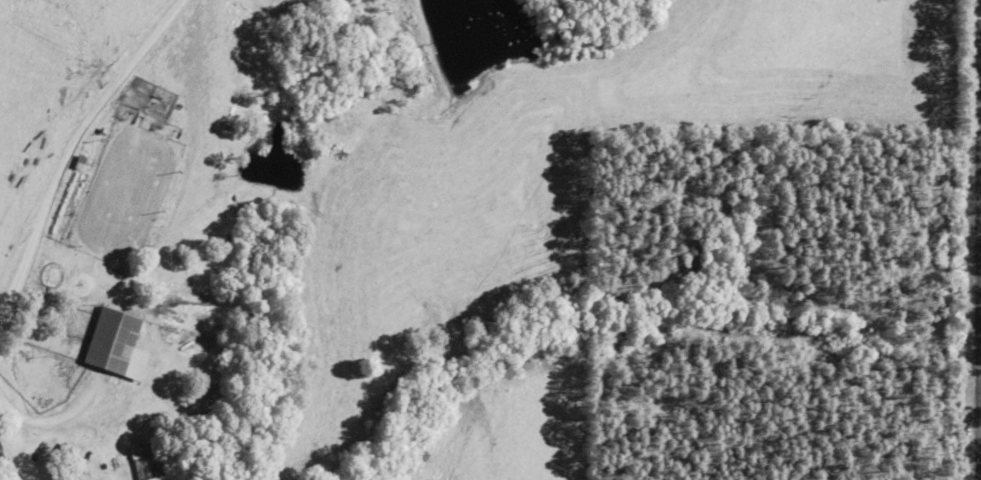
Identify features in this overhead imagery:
road: (974, 240)
building: (117, 342)
building: (71, 476)

